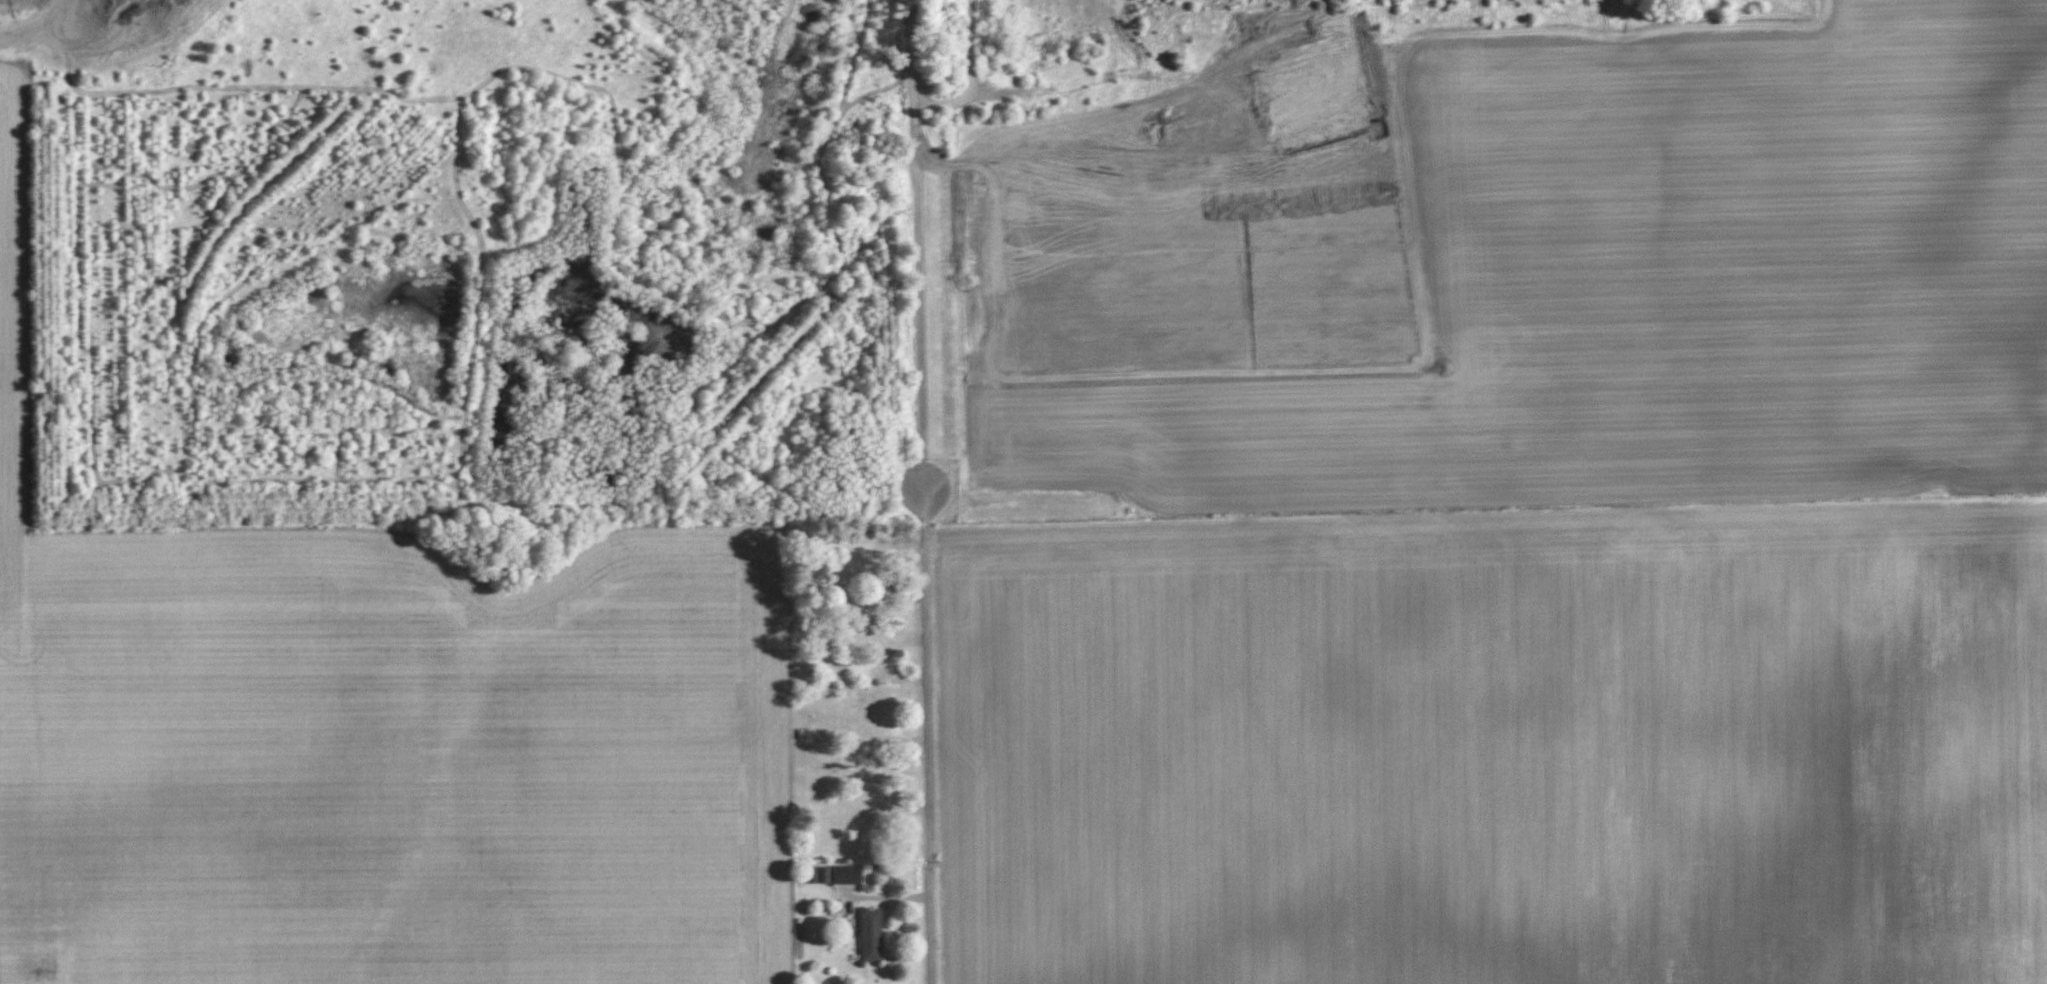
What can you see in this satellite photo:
road: (920, 491)
building: (848, 874)
building: (872, 934)

